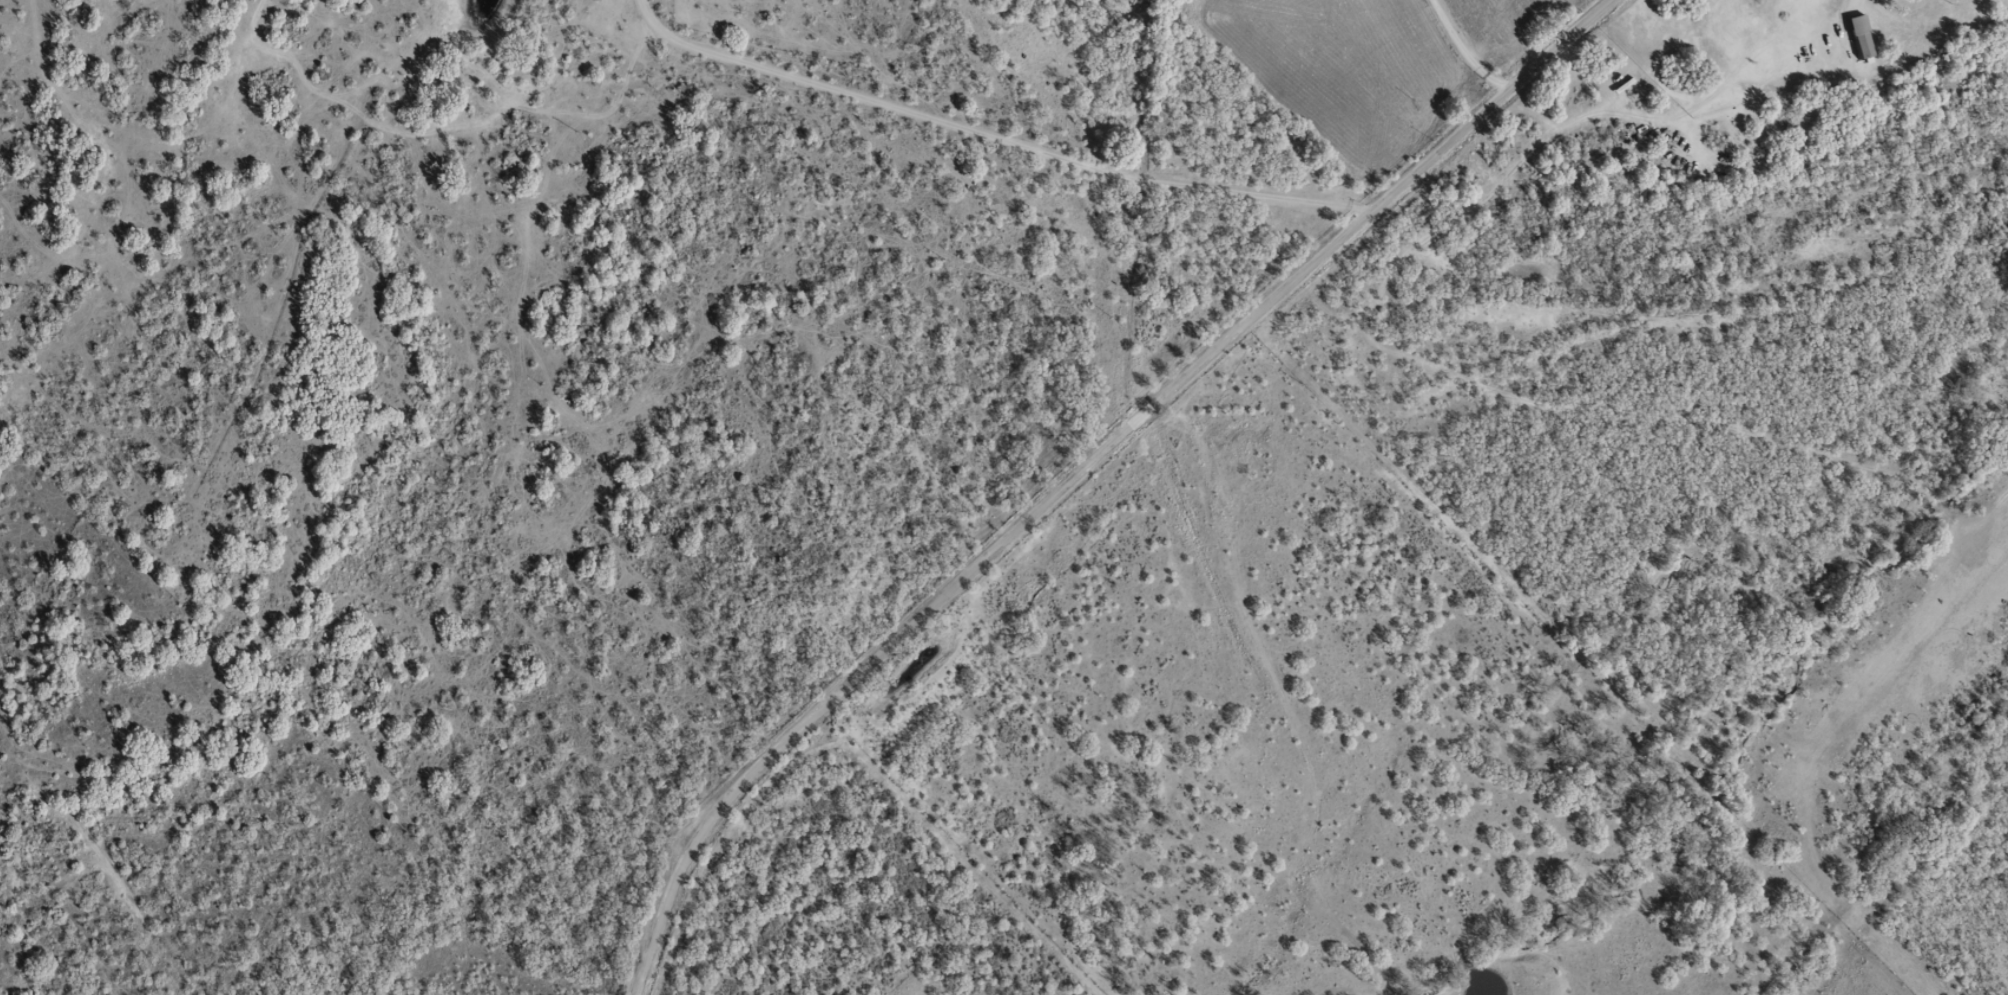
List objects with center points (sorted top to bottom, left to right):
building: (1860, 36)
road: (988, 136)
road: (1055, 463)
railway: (1895, 857)

